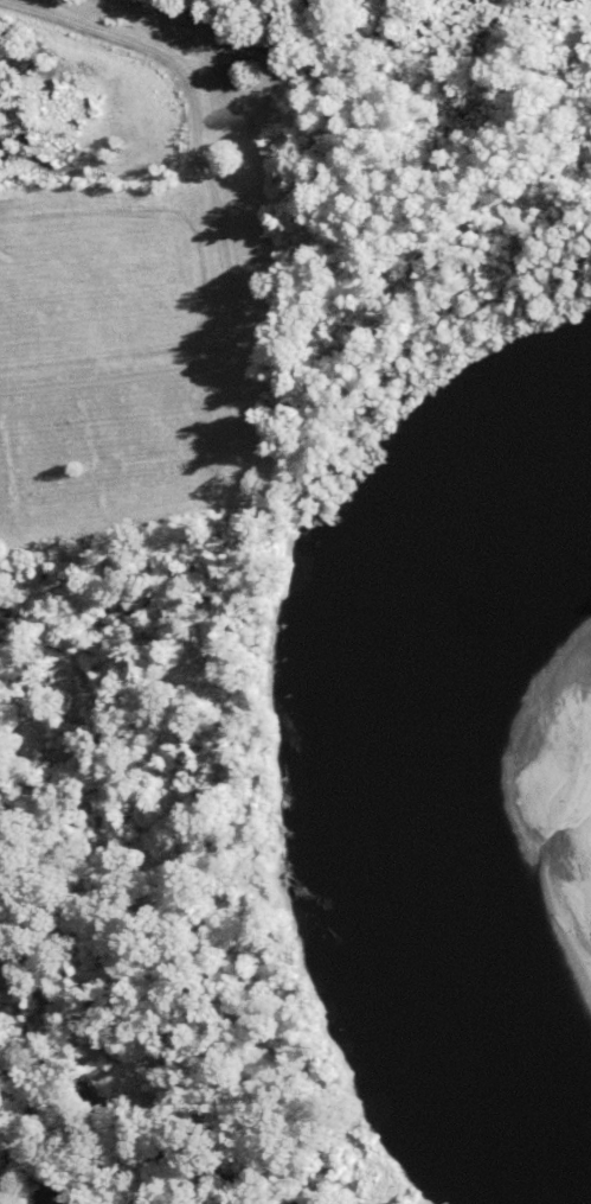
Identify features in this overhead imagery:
river: (358, 792)

